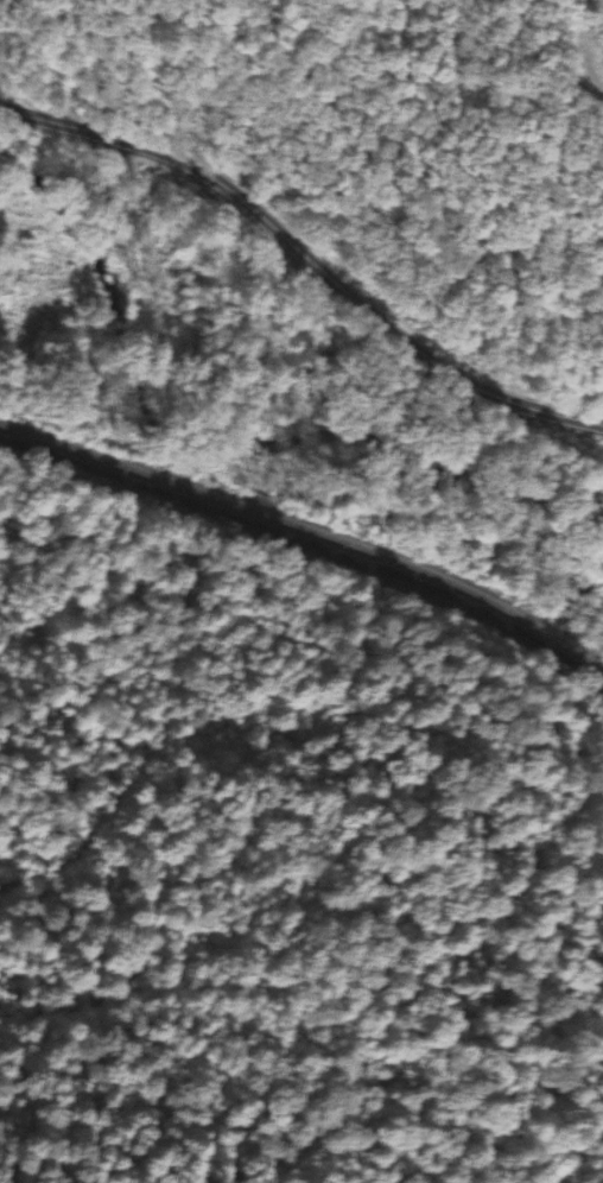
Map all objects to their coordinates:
road: (306, 254)
railway: (309, 531)
railway: (309, 545)

